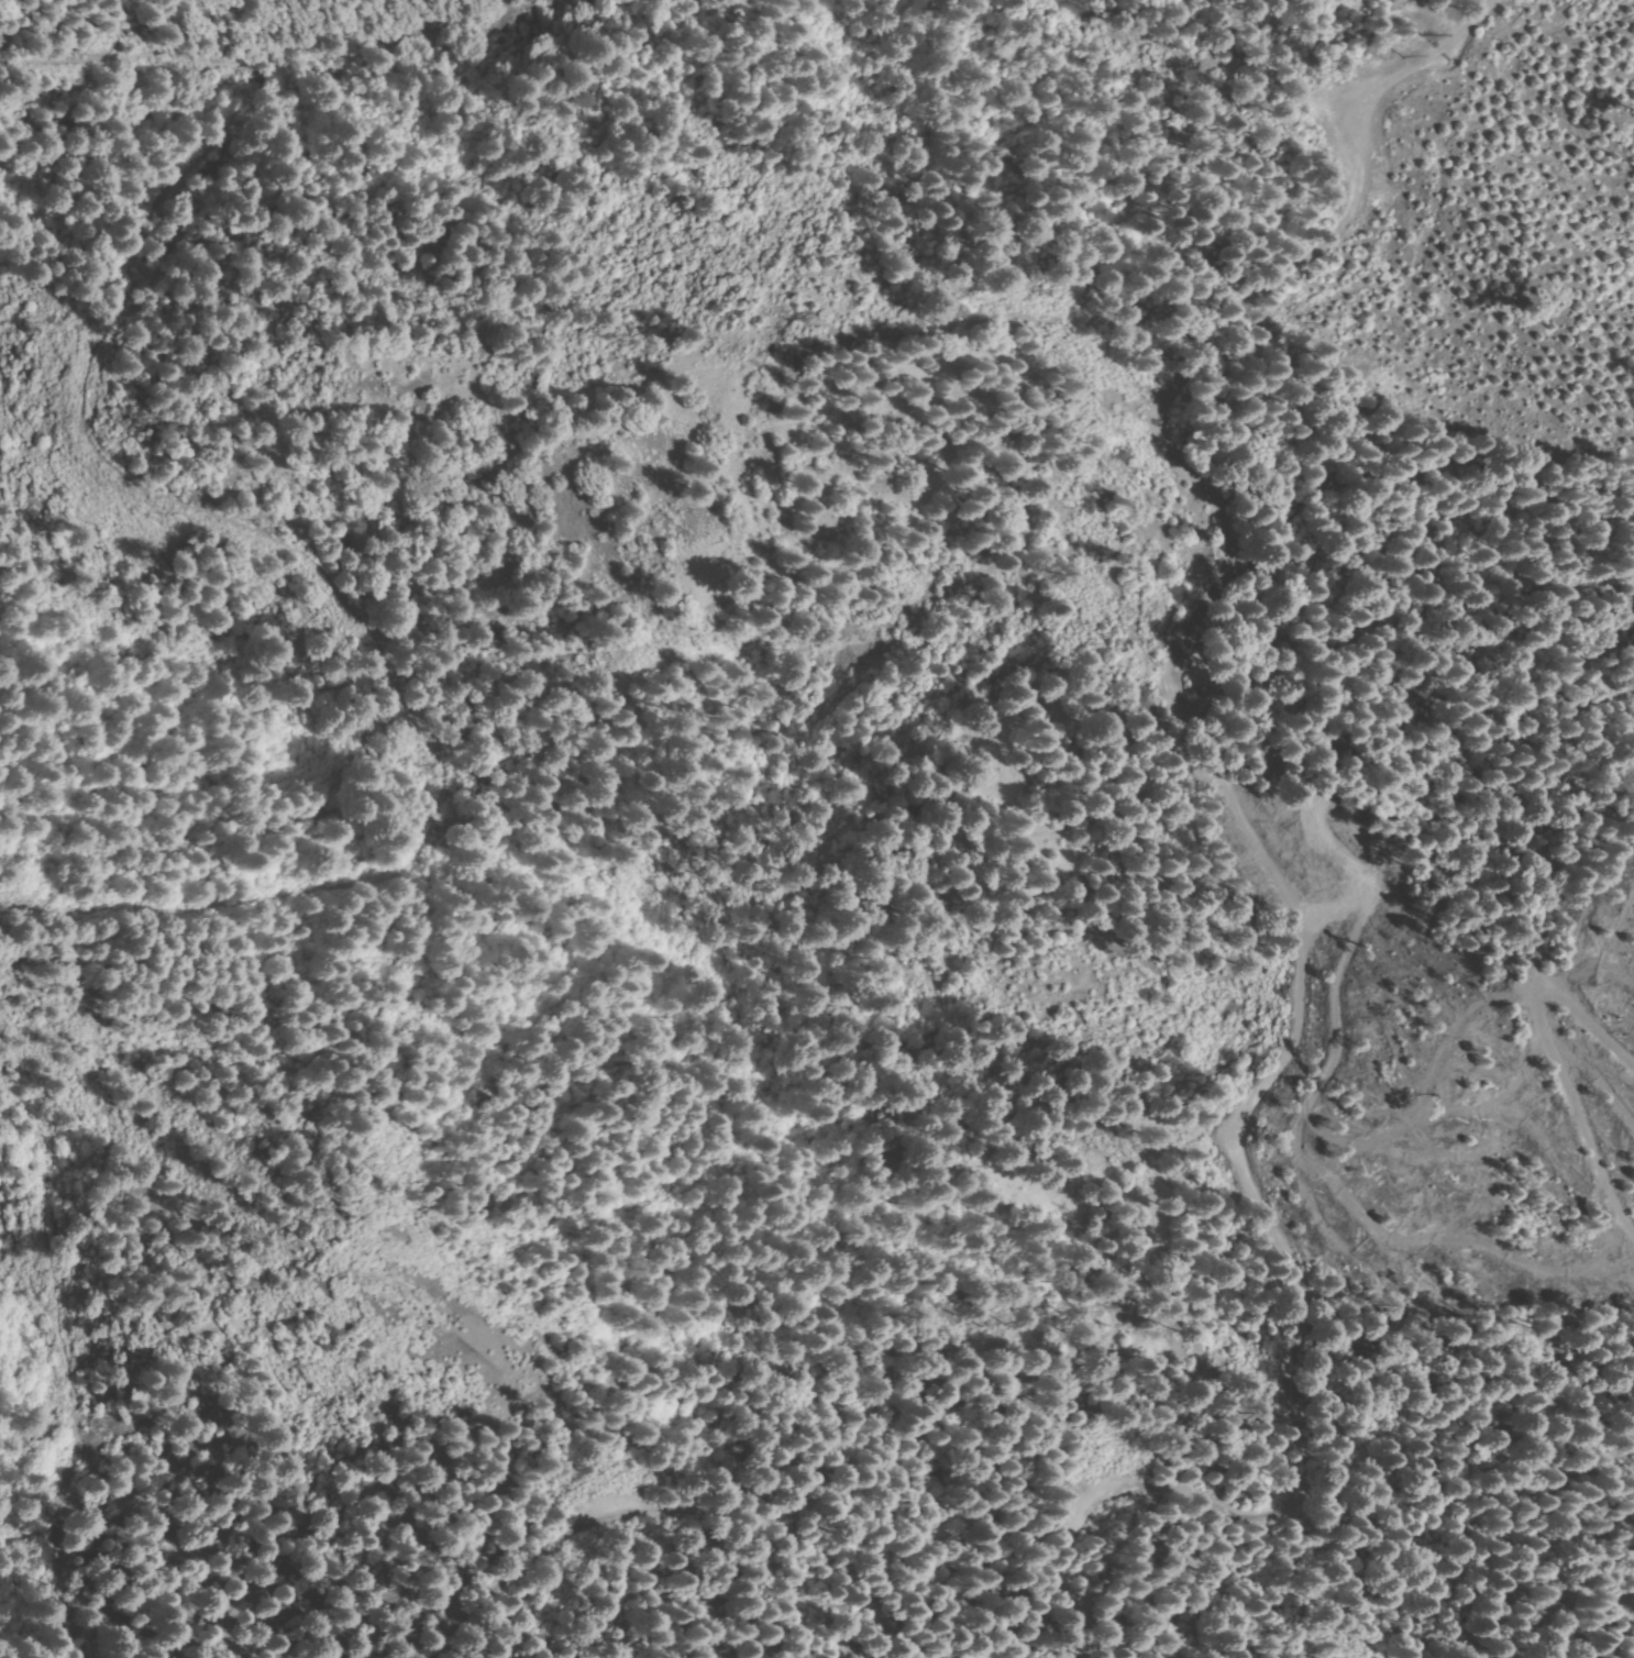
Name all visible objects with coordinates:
road: (118, 418)
road: (220, 897)
road: (1307, 962)
road: (1563, 1062)
road: (47, 1421)
road: (672, 1517)

